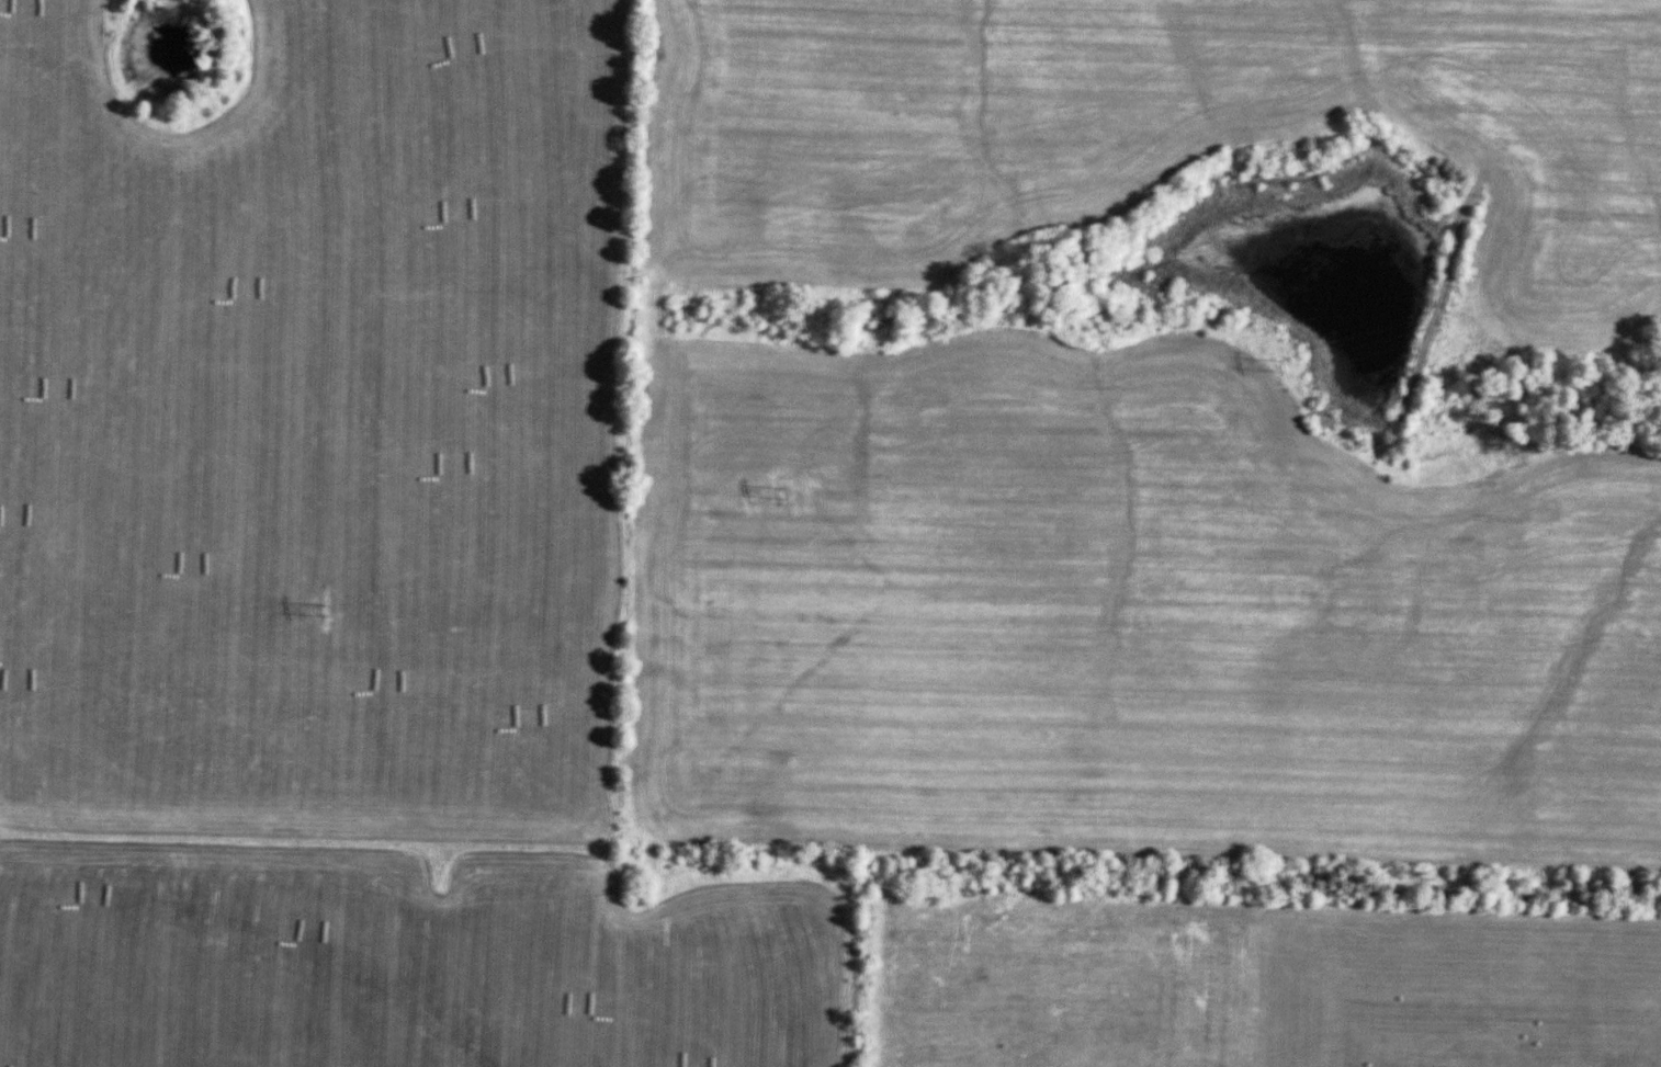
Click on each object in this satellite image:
power tower: (1270, 365)
power tower: (773, 495)
power tower: (327, 610)

